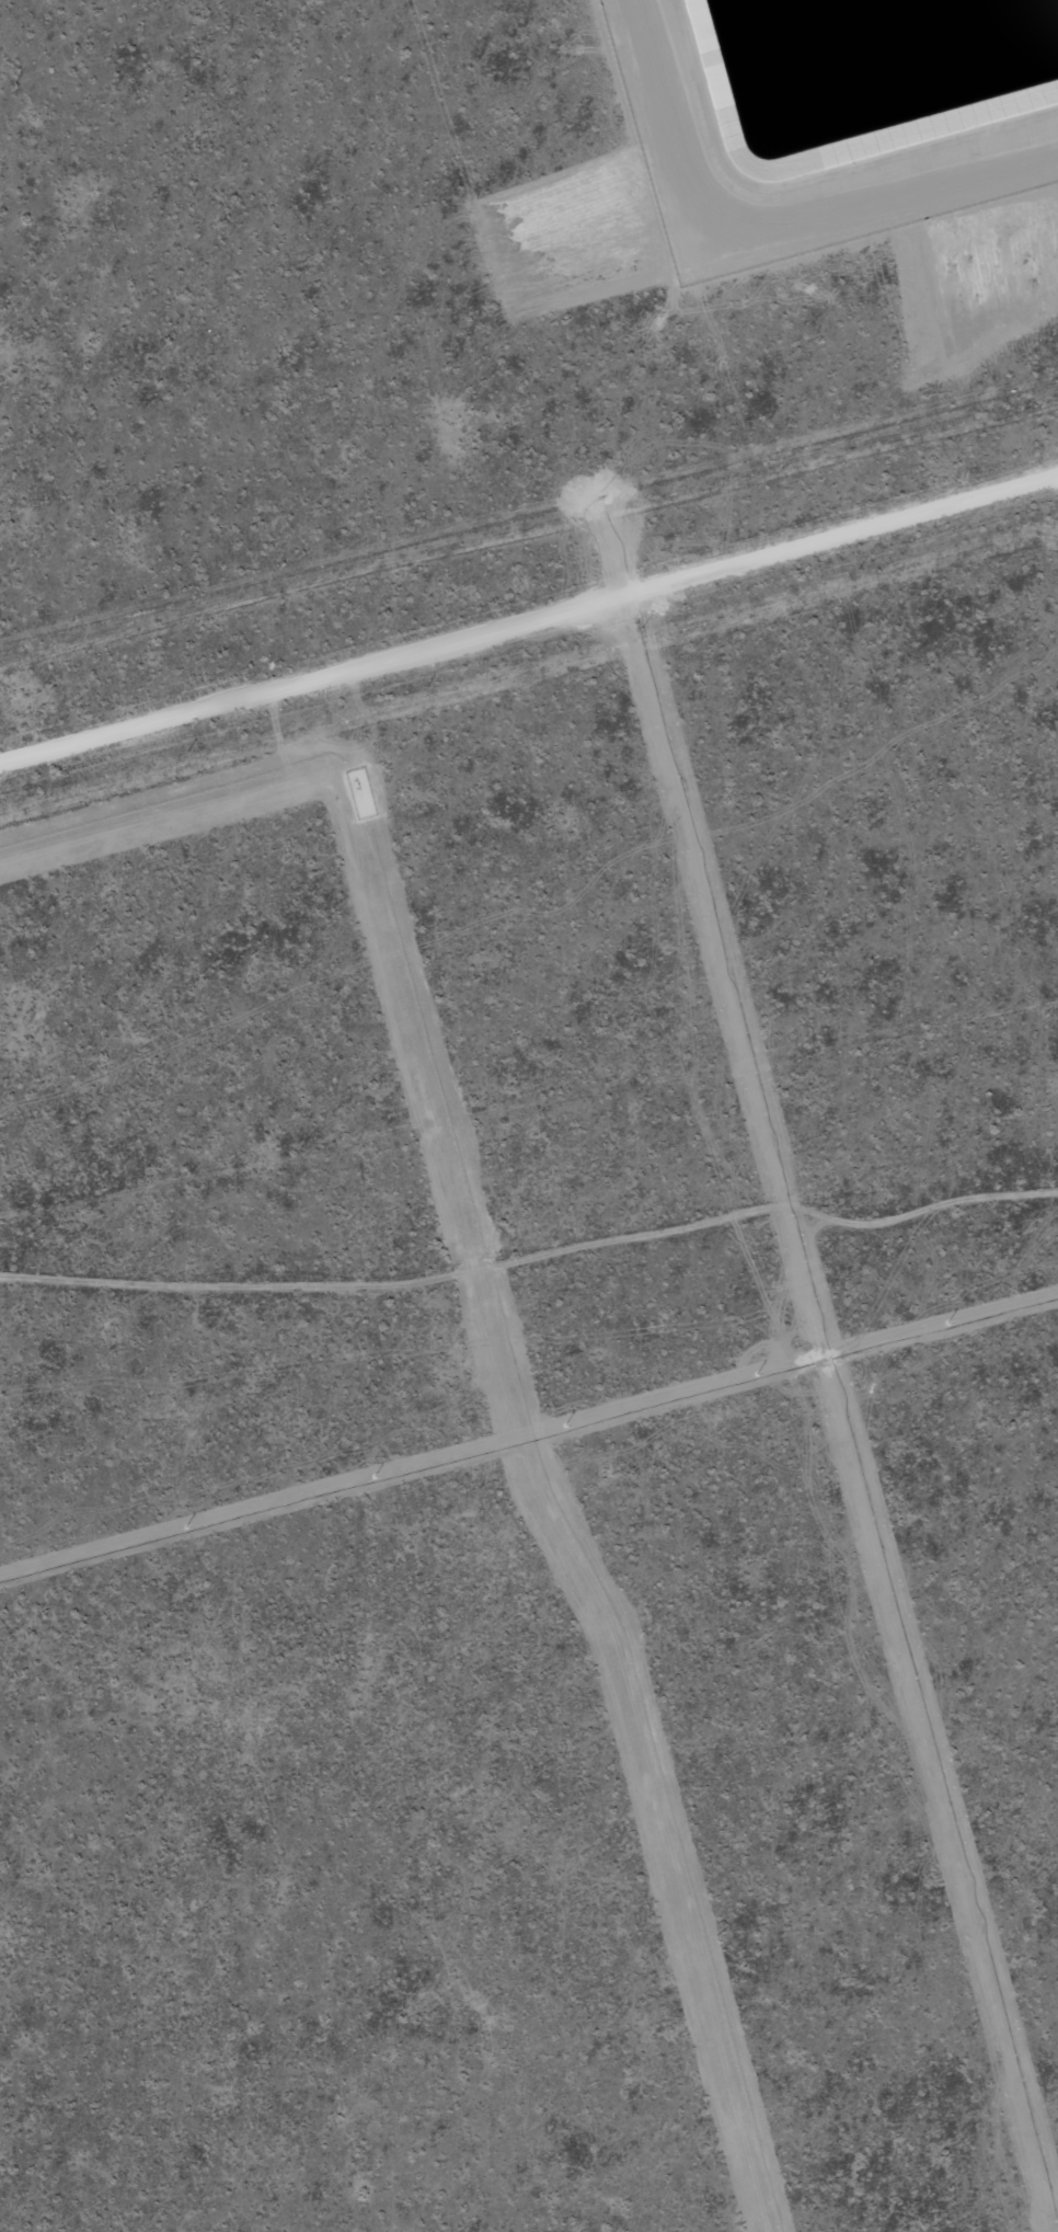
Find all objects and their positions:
road: (529, 1474)

